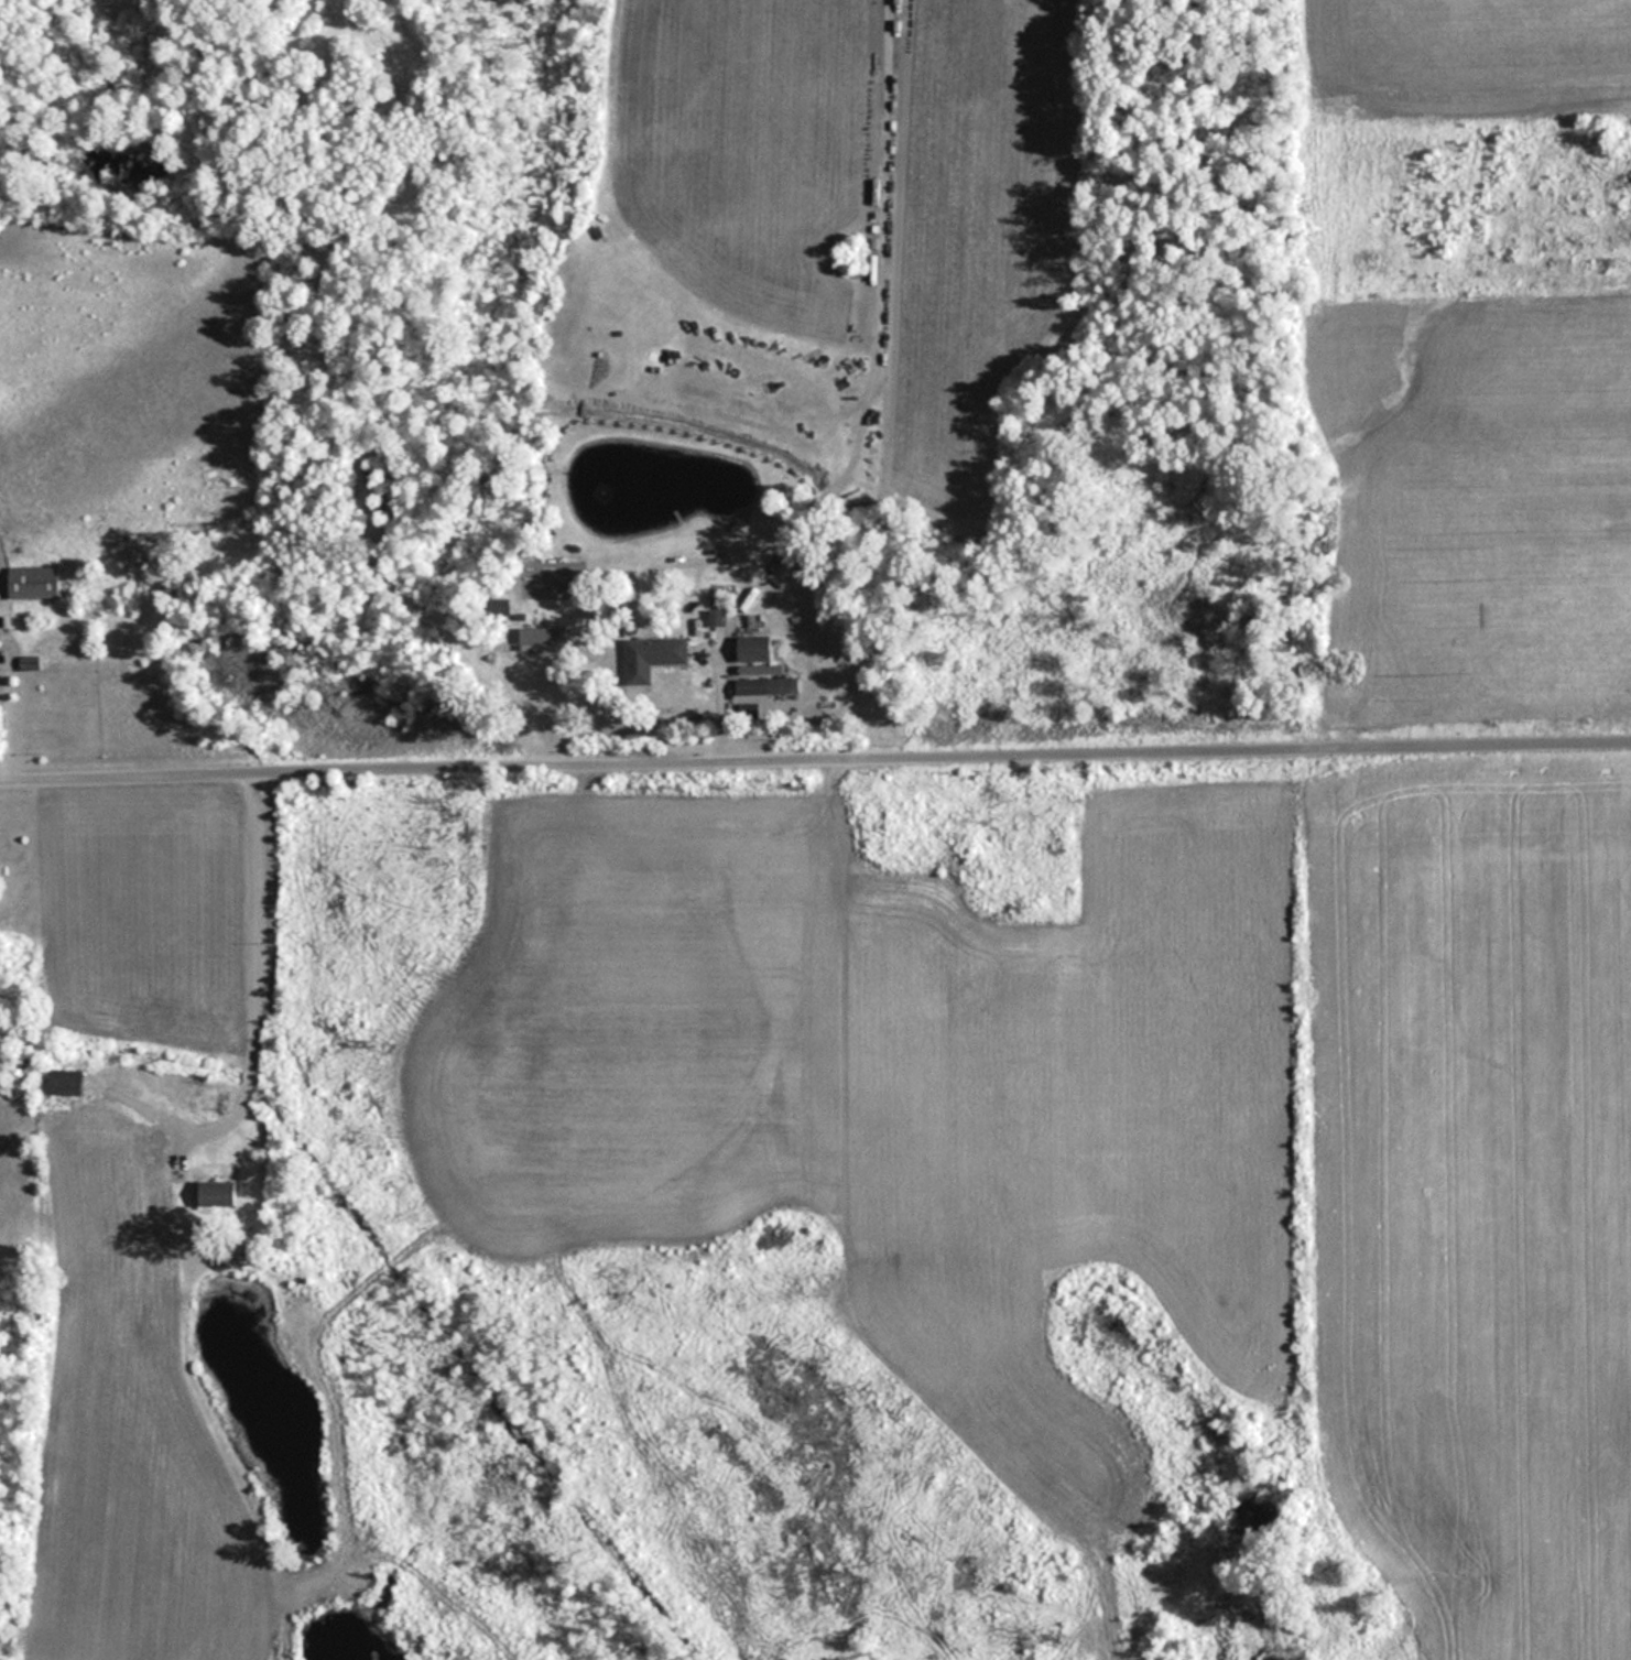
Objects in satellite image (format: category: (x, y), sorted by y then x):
building: (36, 583)
building: (500, 607)
building: (652, 657)
road: (815, 761)
road: (1, 763)
road: (246, 1008)
building: (68, 1083)
building: (218, 1194)

